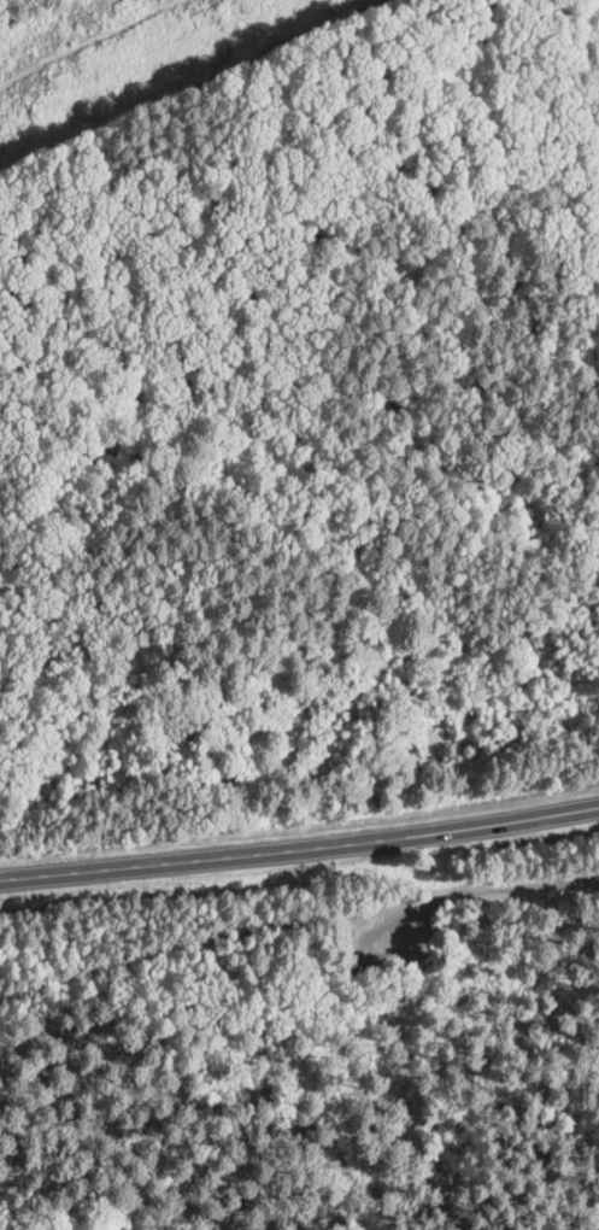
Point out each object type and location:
road: (300, 848)
road: (453, 890)
parking lot: (365, 921)

